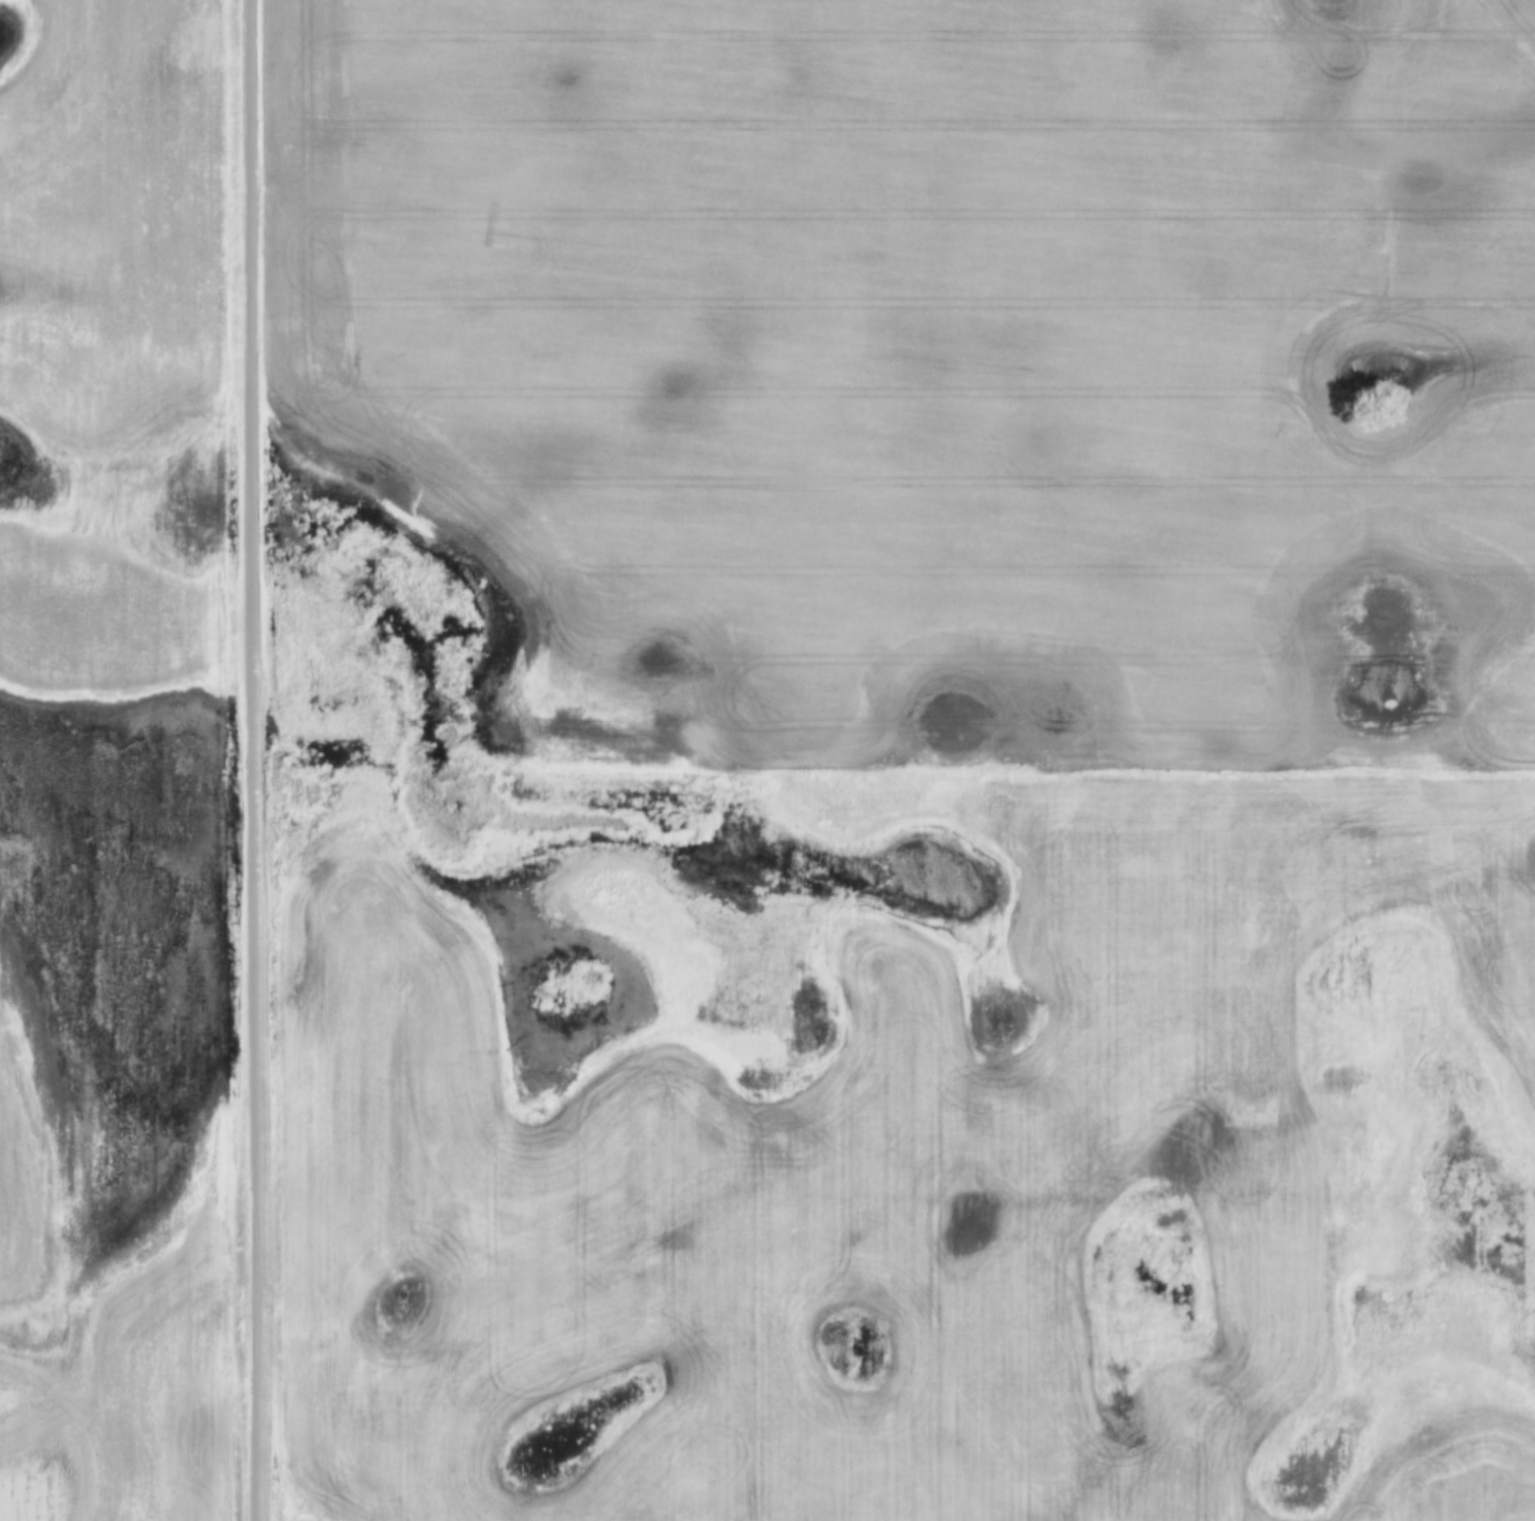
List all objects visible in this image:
road: (252, 760)

